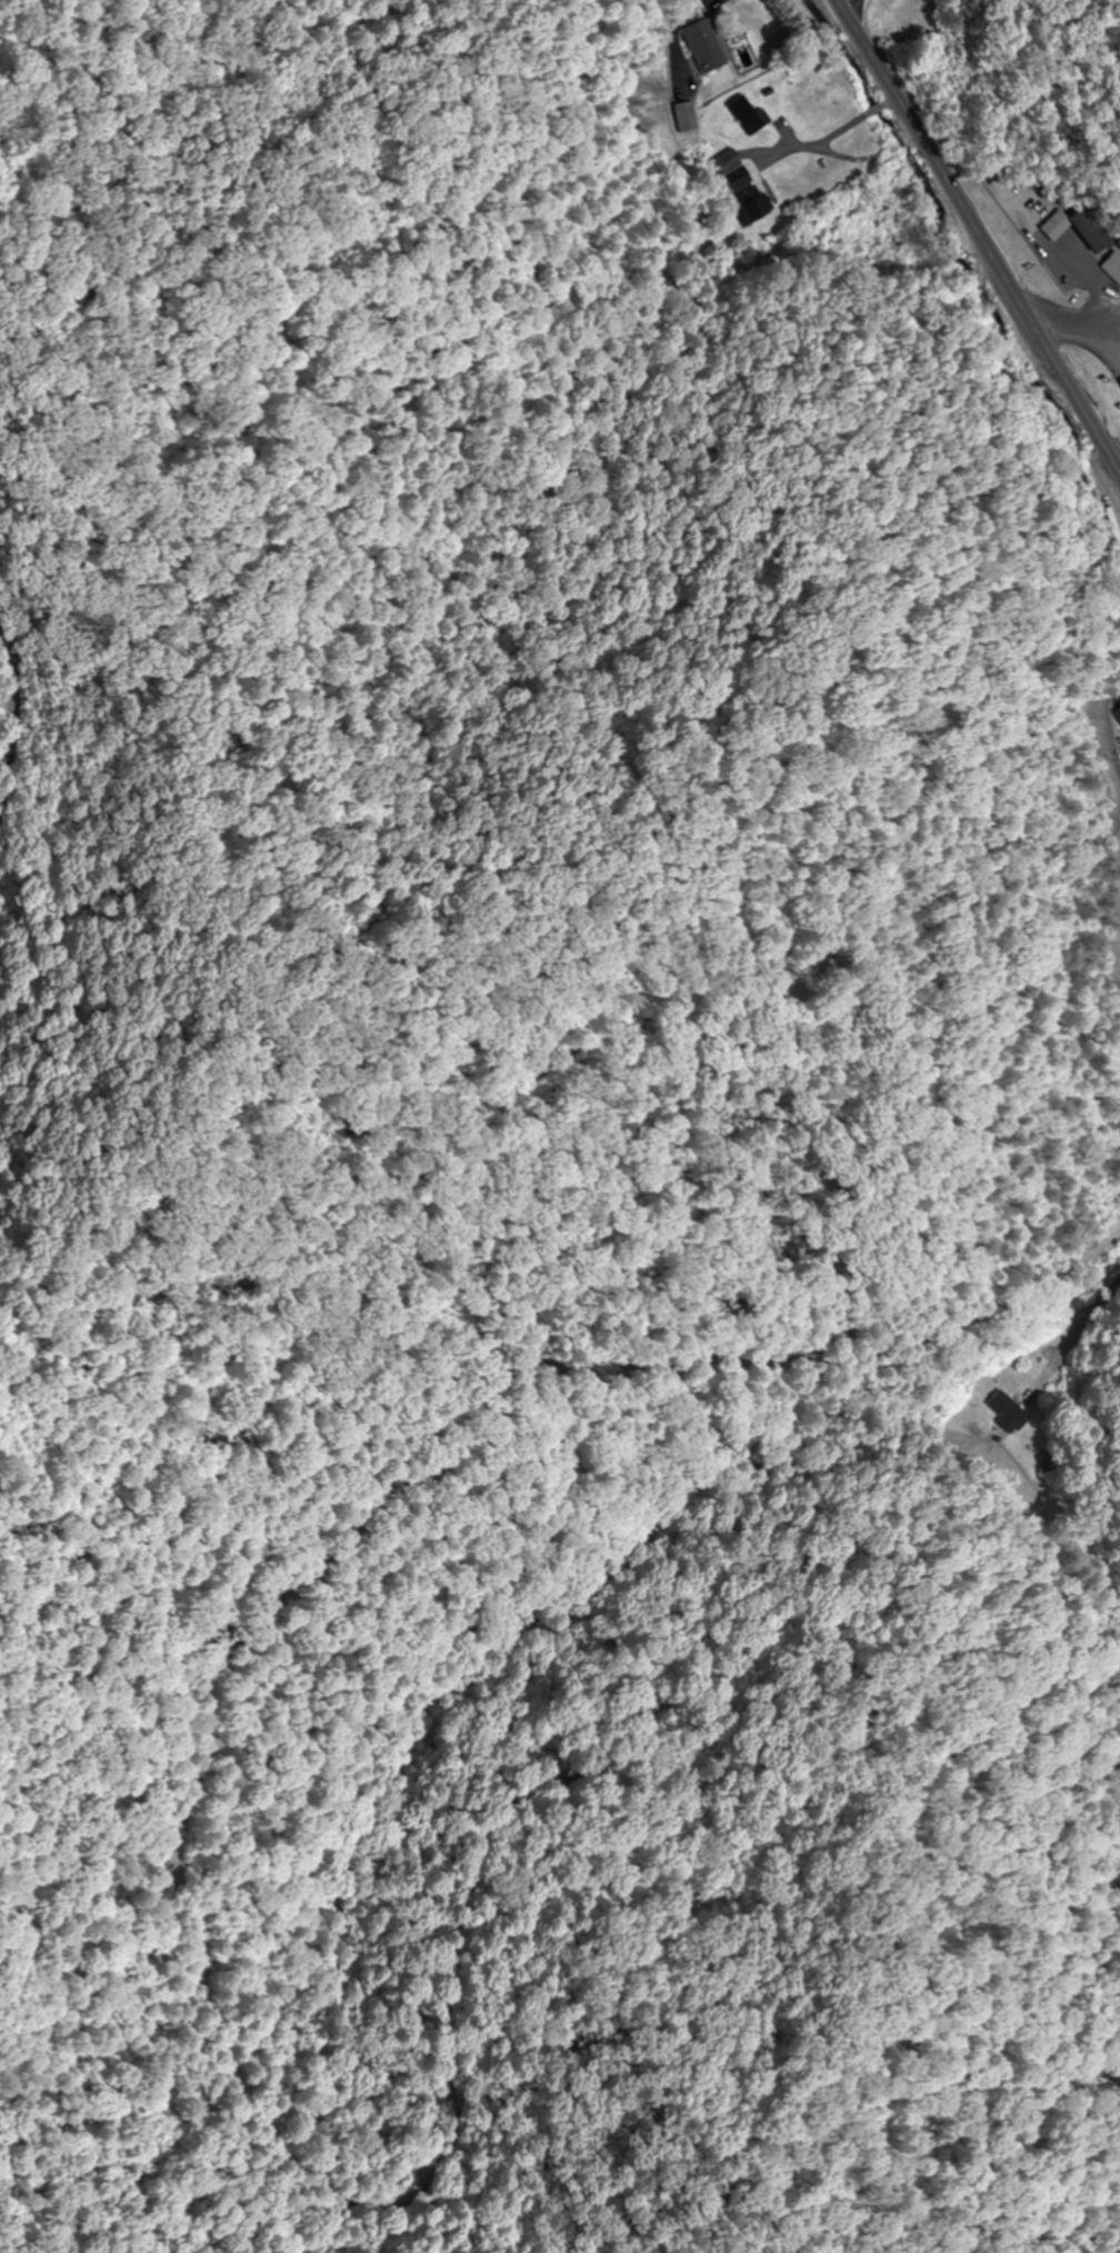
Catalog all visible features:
building: (697, 44)
building: (744, 114)
building: (682, 118)
building: (728, 170)
building: (747, 207)
building: (1074, 229)
road: (978, 239)
building: (1111, 268)
building: (1118, 383)
building: (1118, 714)
road: (8, 731)
road: (1087, 1325)
building: (1006, 1412)

